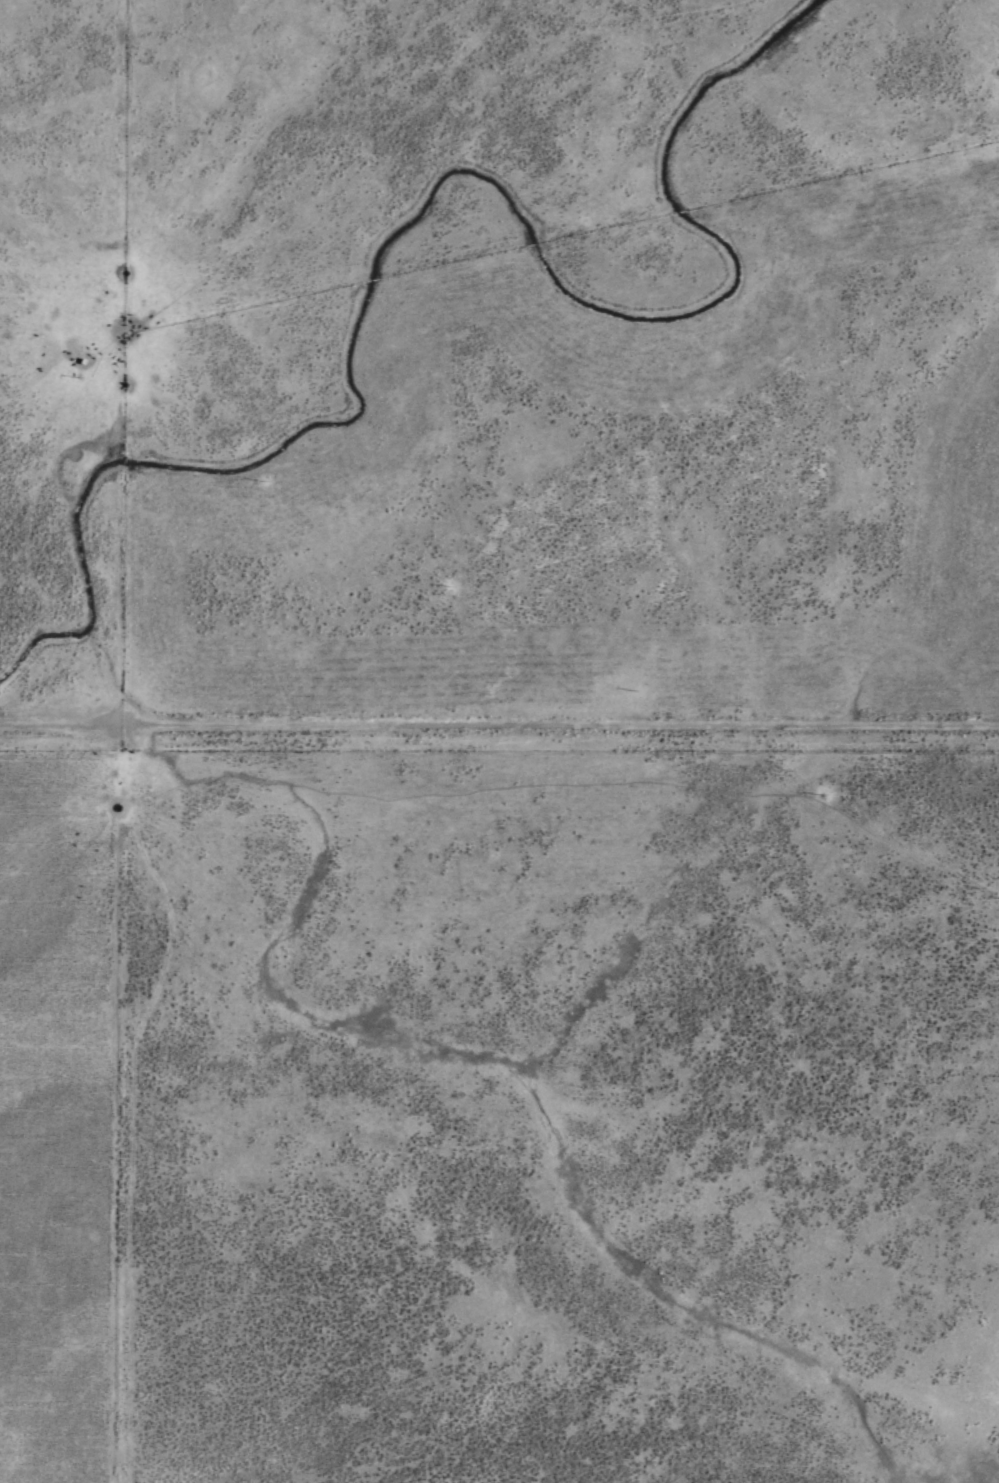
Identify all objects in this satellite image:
crop: (499, 741)

